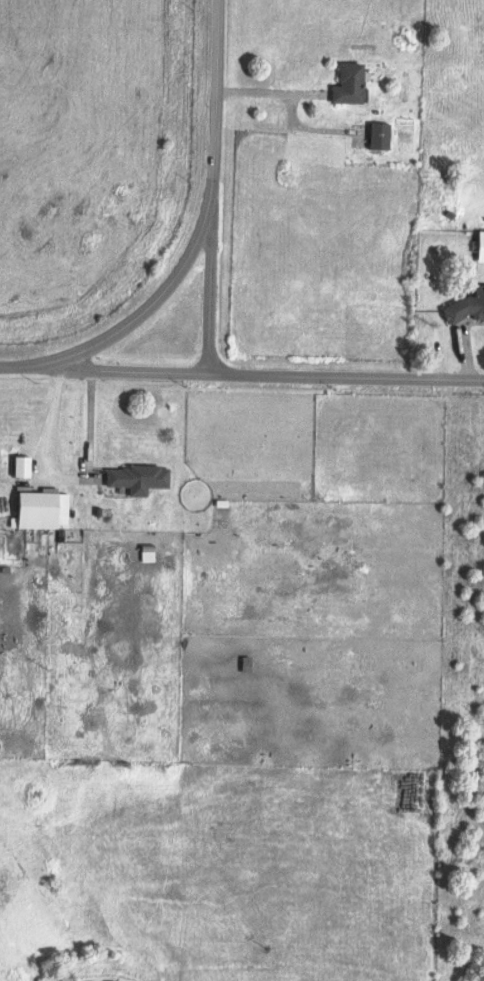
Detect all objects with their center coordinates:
building: (351, 84)
road: (269, 91)
building: (381, 136)
road: (203, 214)
building: (482, 247)
road: (209, 286)
building: (466, 308)
road: (28, 365)
road: (269, 373)
building: (141, 478)
building: (46, 510)

